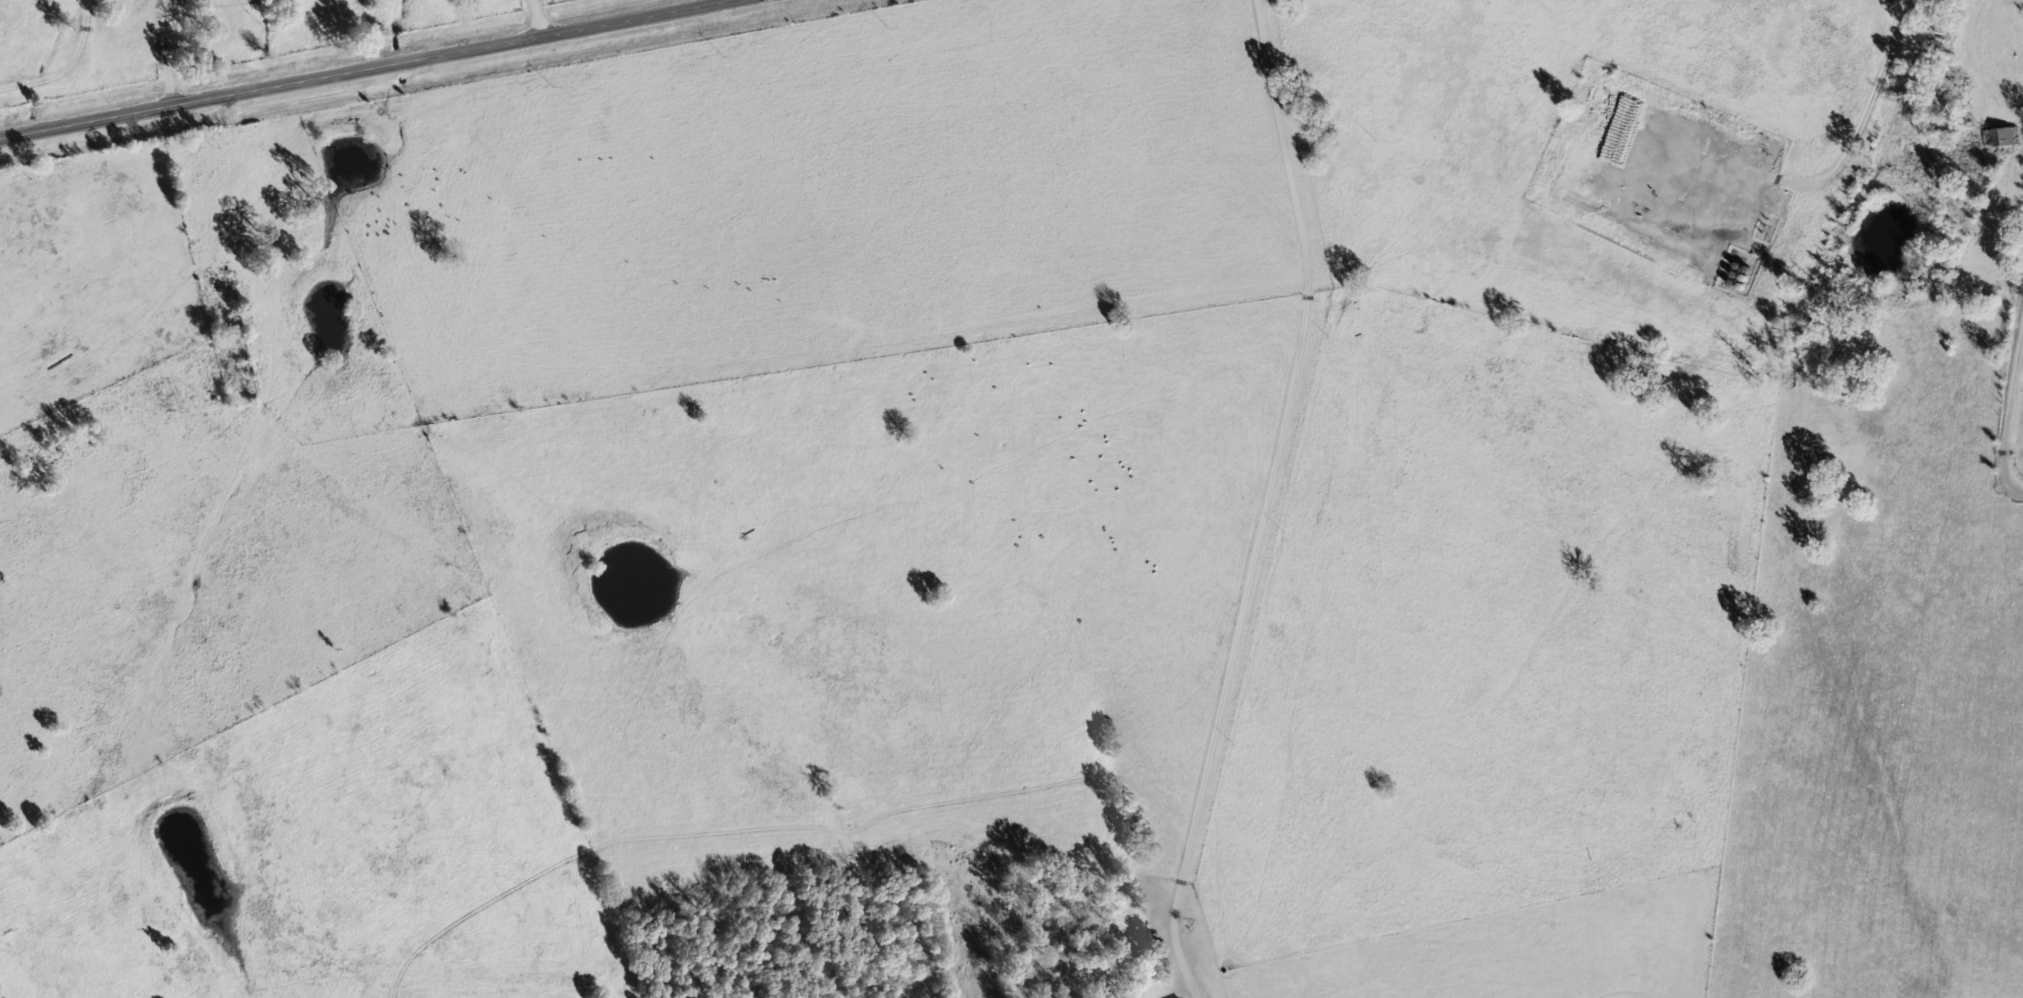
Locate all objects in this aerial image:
road: (364, 68)
building: (2004, 139)

